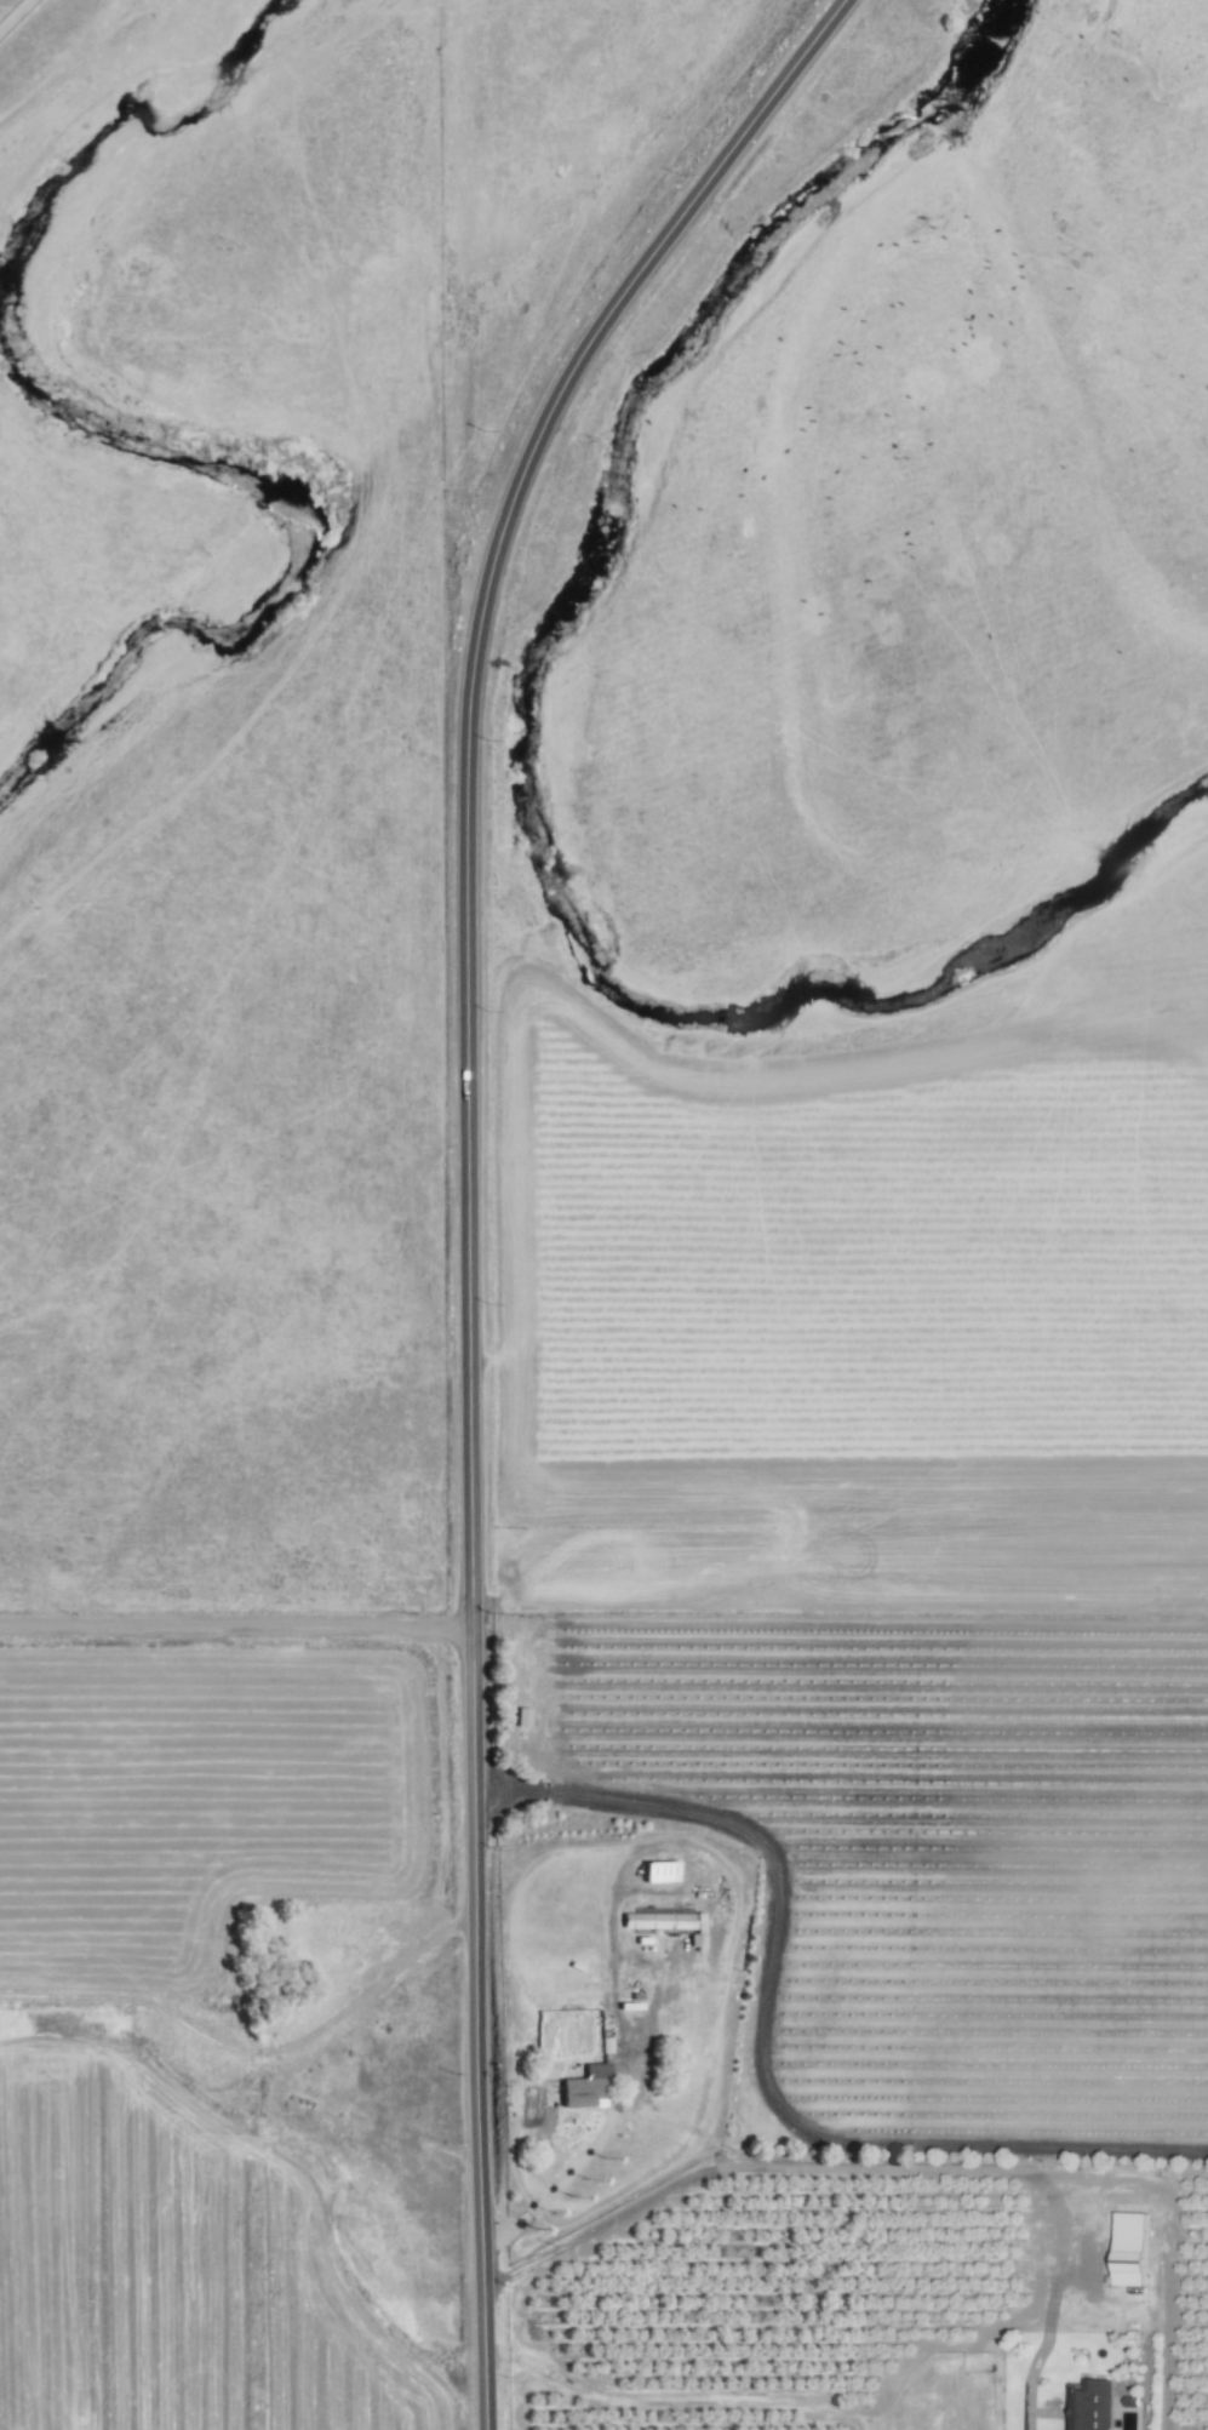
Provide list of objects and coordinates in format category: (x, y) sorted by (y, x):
road: (619, 297)
road: (471, 1533)
road: (236, 1628)
building: (659, 1874)
building: (658, 1923)
road: (773, 2035)
building: (585, 2088)
road: (883, 2167)
building: (1128, 2264)
building: (1090, 2406)

